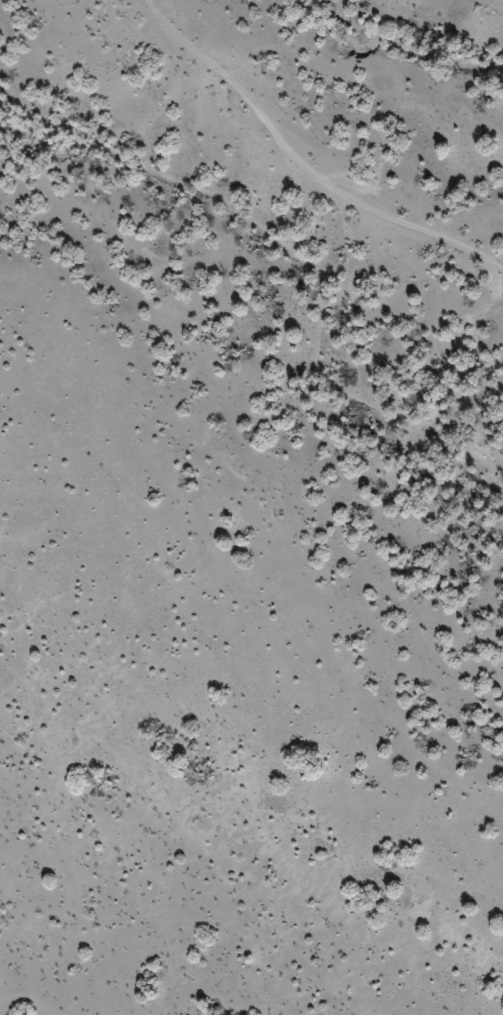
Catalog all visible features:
road: (304, 168)
road: (56, 942)

